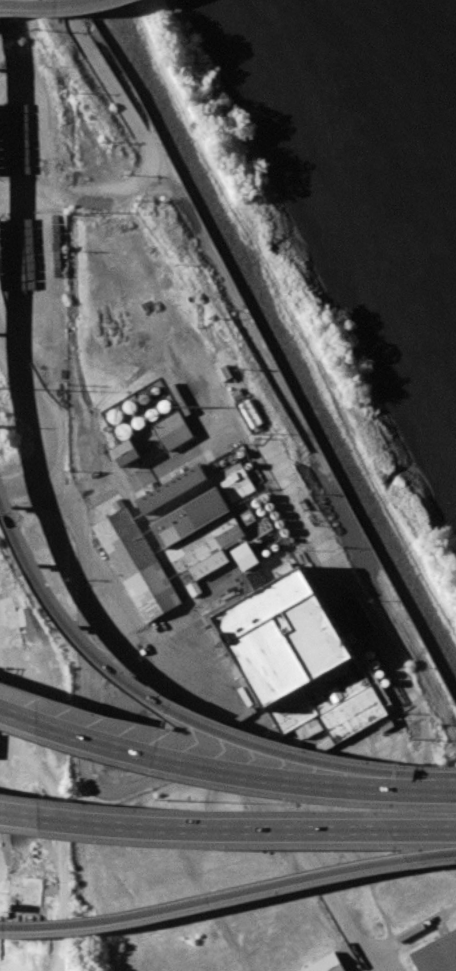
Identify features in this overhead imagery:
road: (62, 11)
road: (79, 24)
road: (37, 97)
river: (400, 110)
road: (145, 180)
building: (225, 373)
road: (36, 382)
building: (173, 430)
building: (126, 452)
road: (46, 468)
building: (238, 480)
road: (21, 485)
building: (175, 489)
road: (101, 491)
building: (204, 539)
building: (138, 563)
building: (358, 618)
road: (150, 635)
building: (301, 656)
road: (162, 703)
road: (211, 768)
road: (443, 791)
road: (227, 827)
road: (273, 885)
road: (44, 924)
building: (438, 954)
building: (326, 964)

